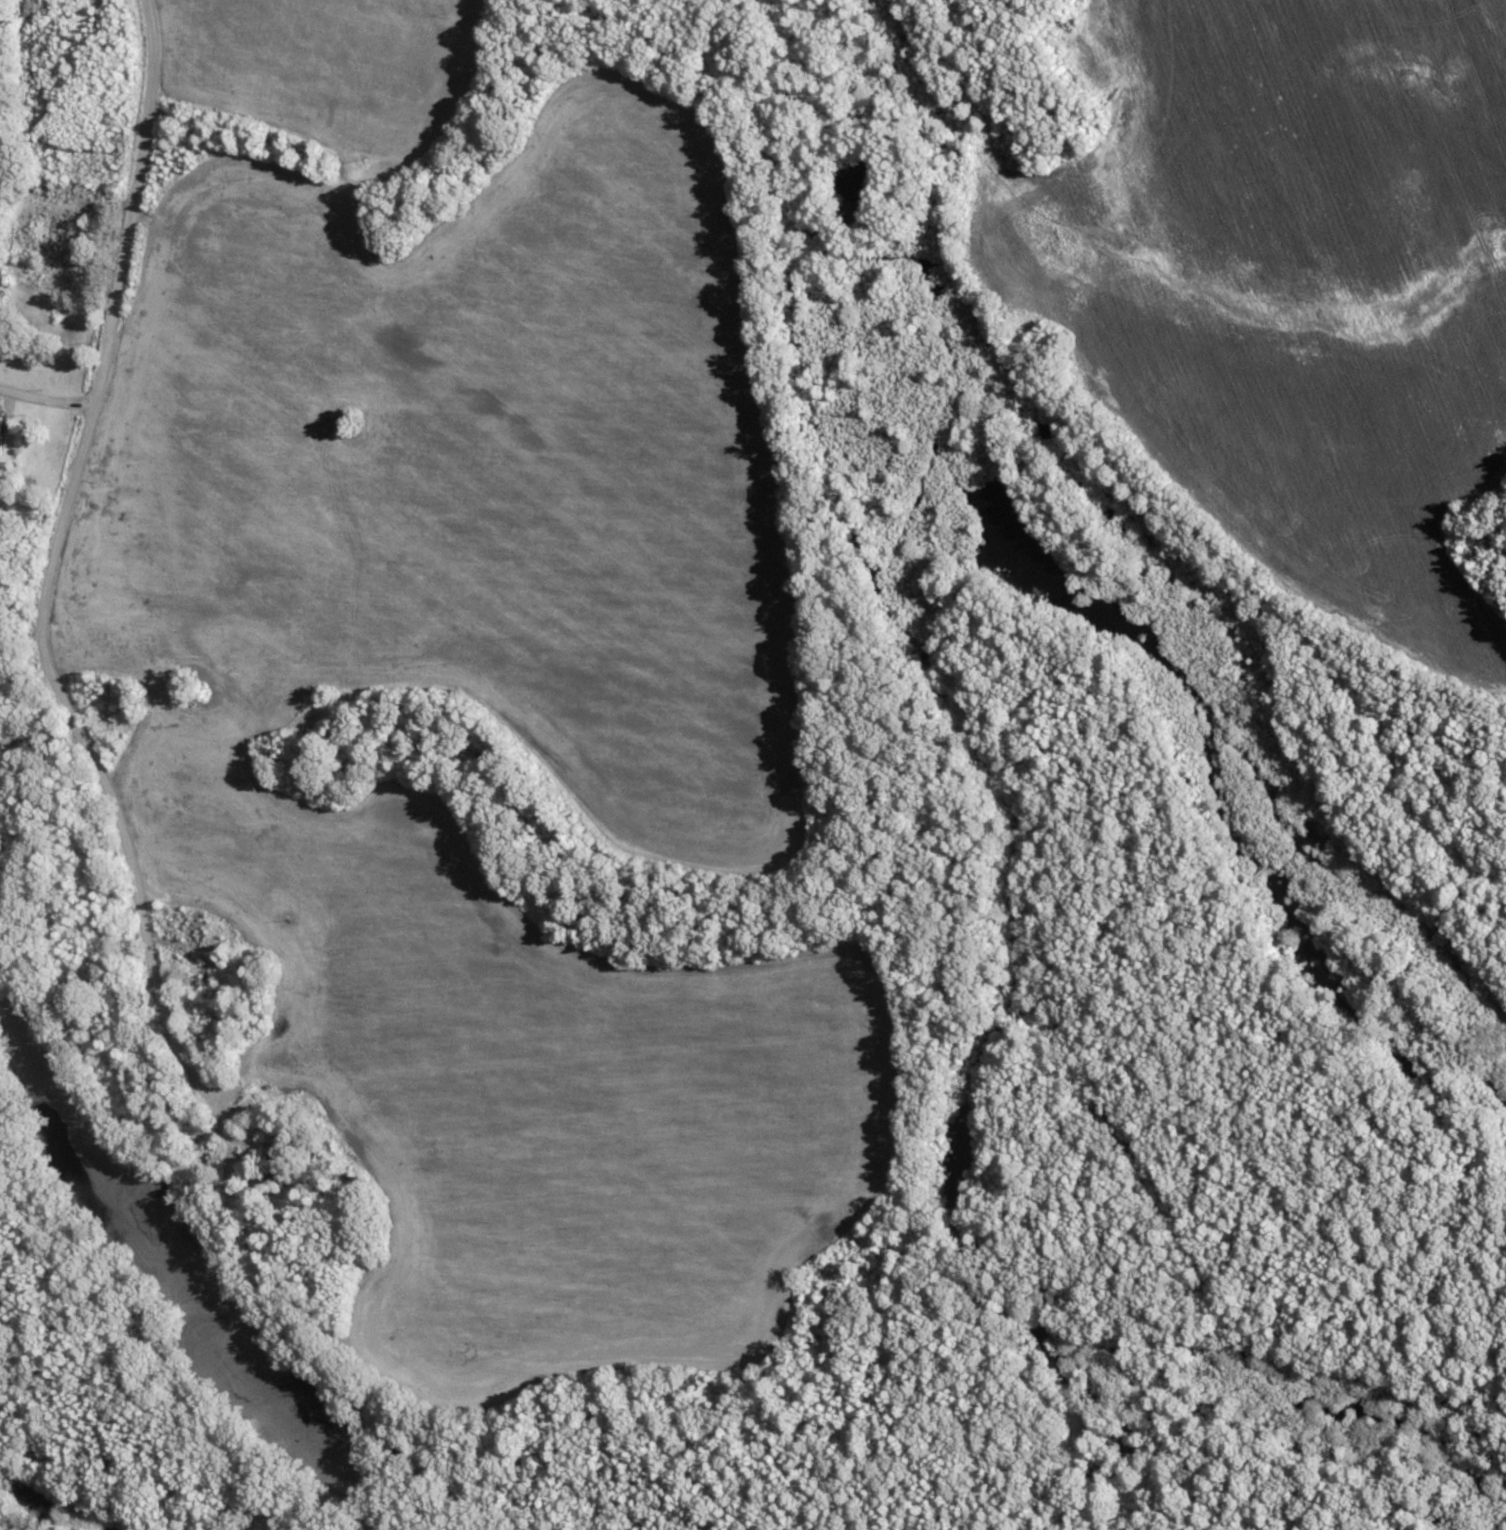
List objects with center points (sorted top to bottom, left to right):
building: (65, 234)
road: (43, 388)
building: (1, 434)
road: (62, 780)
building: (197, 932)
building: (212, 969)
building: (274, 1170)

